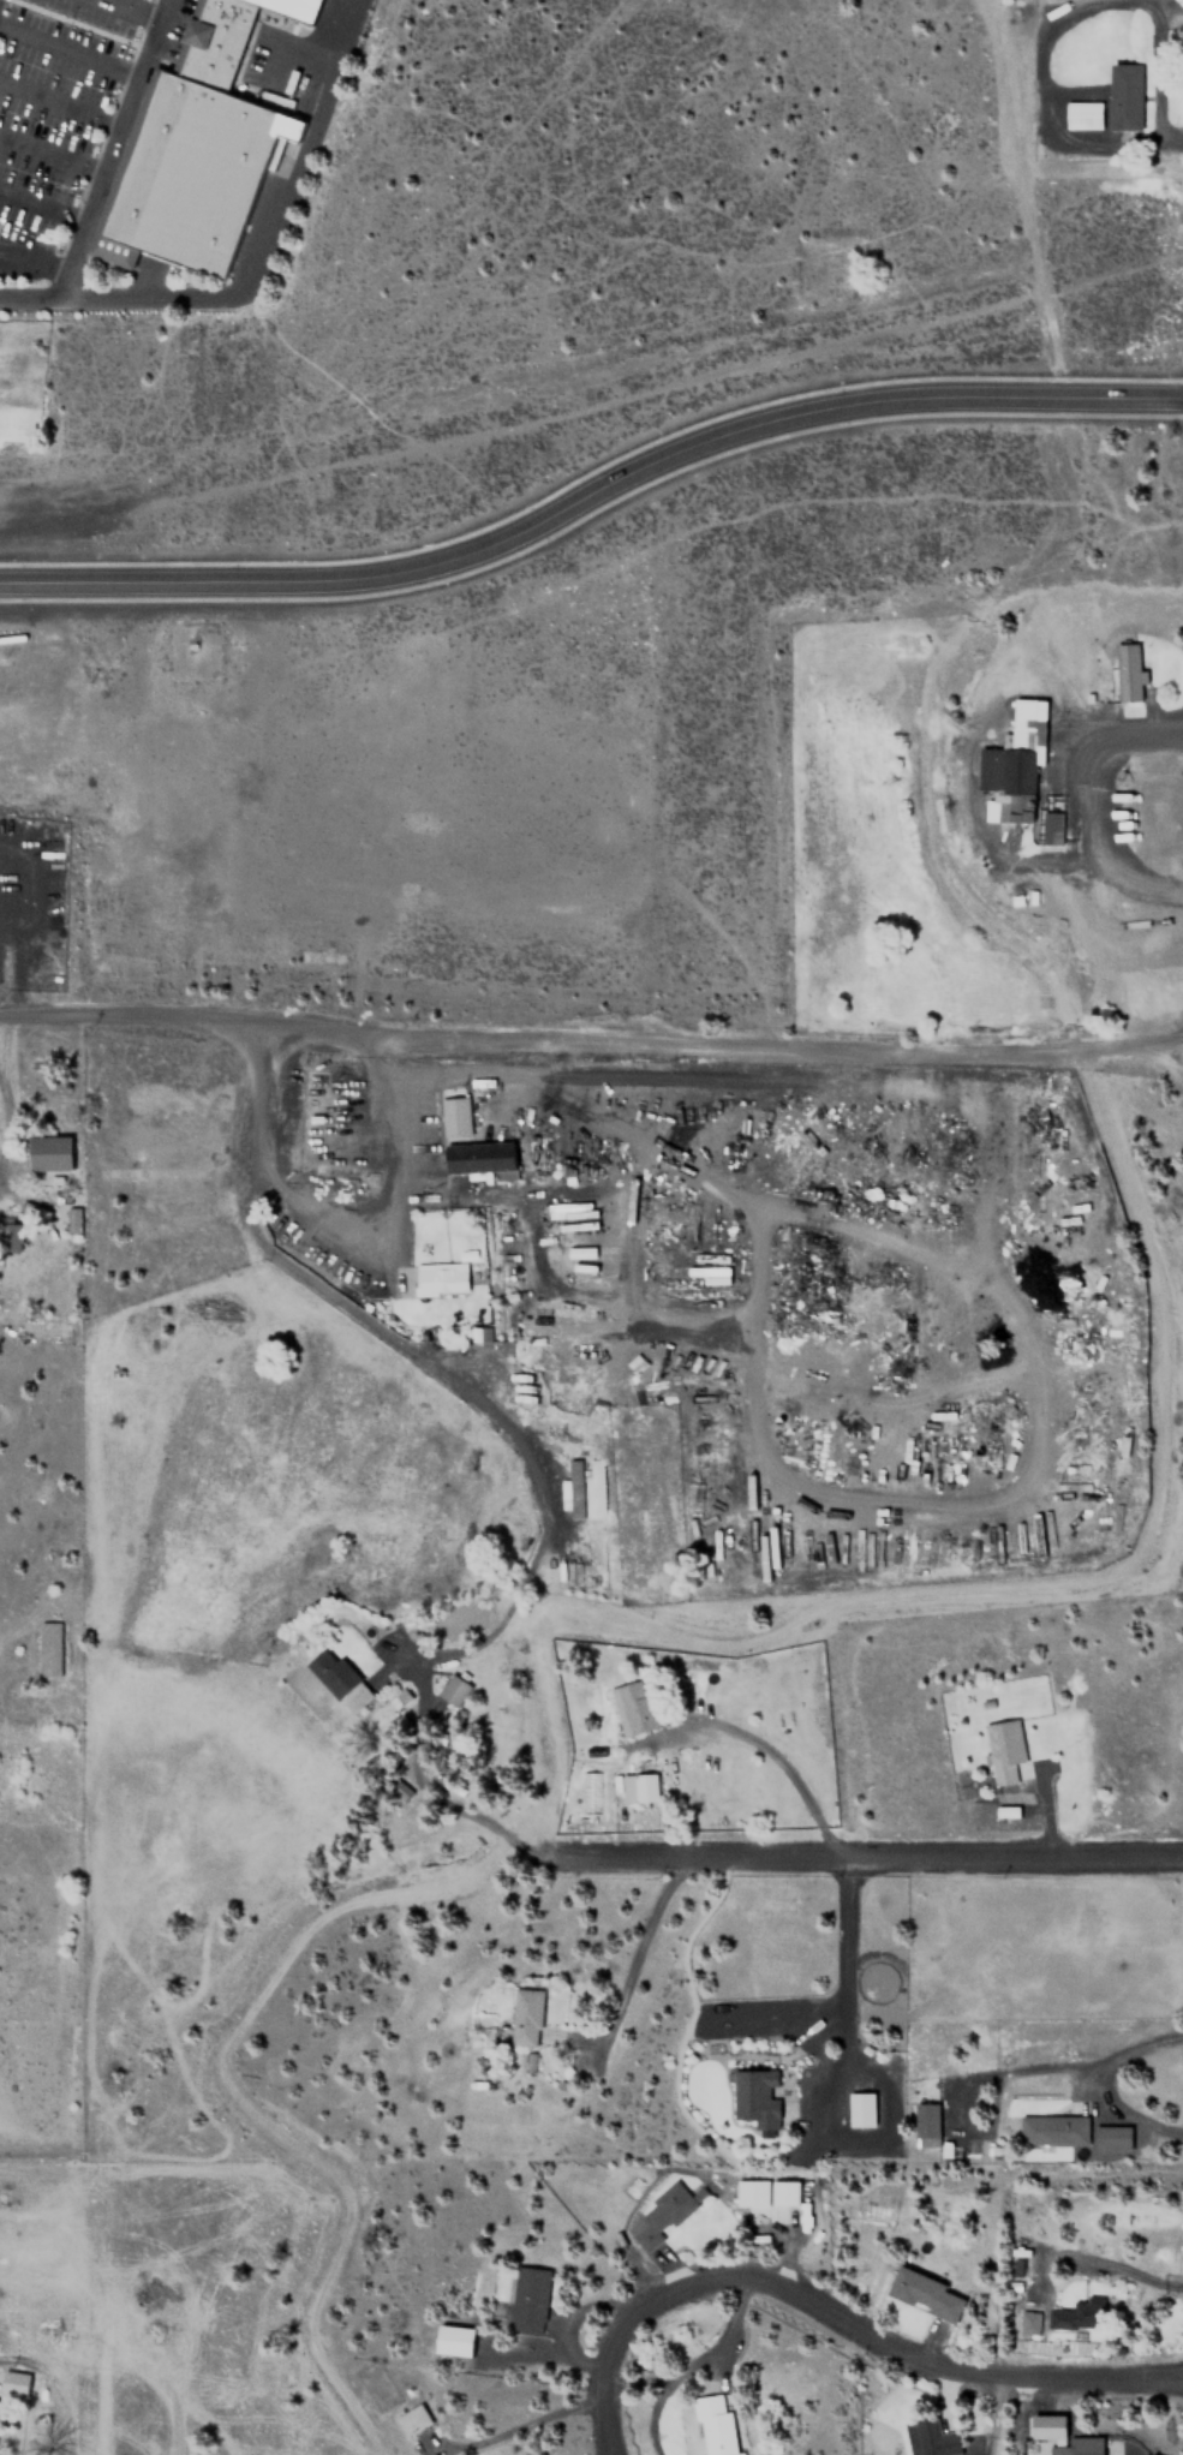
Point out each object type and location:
road: (132, 8)
building: (294, 8)
building: (213, 41)
building: (1125, 97)
building: (1082, 114)
road: (109, 147)
building: (185, 174)
road: (42, 202)
road: (268, 233)
road: (32, 261)
road: (29, 295)
road: (591, 492)
building: (1127, 673)
building: (1015, 763)
building: (1050, 826)
road: (591, 1041)
building: (474, 1129)
building: (49, 1153)
building: (74, 1218)
building: (440, 1278)
building: (482, 1334)
road: (422, 1356)
building: (574, 1488)
building: (48, 1648)
building: (337, 1679)
building: (452, 1689)
building: (632, 1707)
building: (1003, 1749)
building: (638, 1787)
road: (870, 1854)
building: (525, 2015)
building: (754, 2095)
building: (860, 2108)
building: (926, 2124)
building: (1053, 2130)
building: (1111, 2136)
building: (749, 2192)
building: (783, 2192)
building: (659, 2216)
building: (925, 2294)
building: (527, 2299)
building: (1075, 2316)
building: (1027, 2322)
building: (453, 2340)
road: (900, 2347)
building: (13, 2383)
road: (611, 2384)
building: (411, 2419)
building: (713, 2425)
building: (934, 2438)
building: (1067, 2438)

